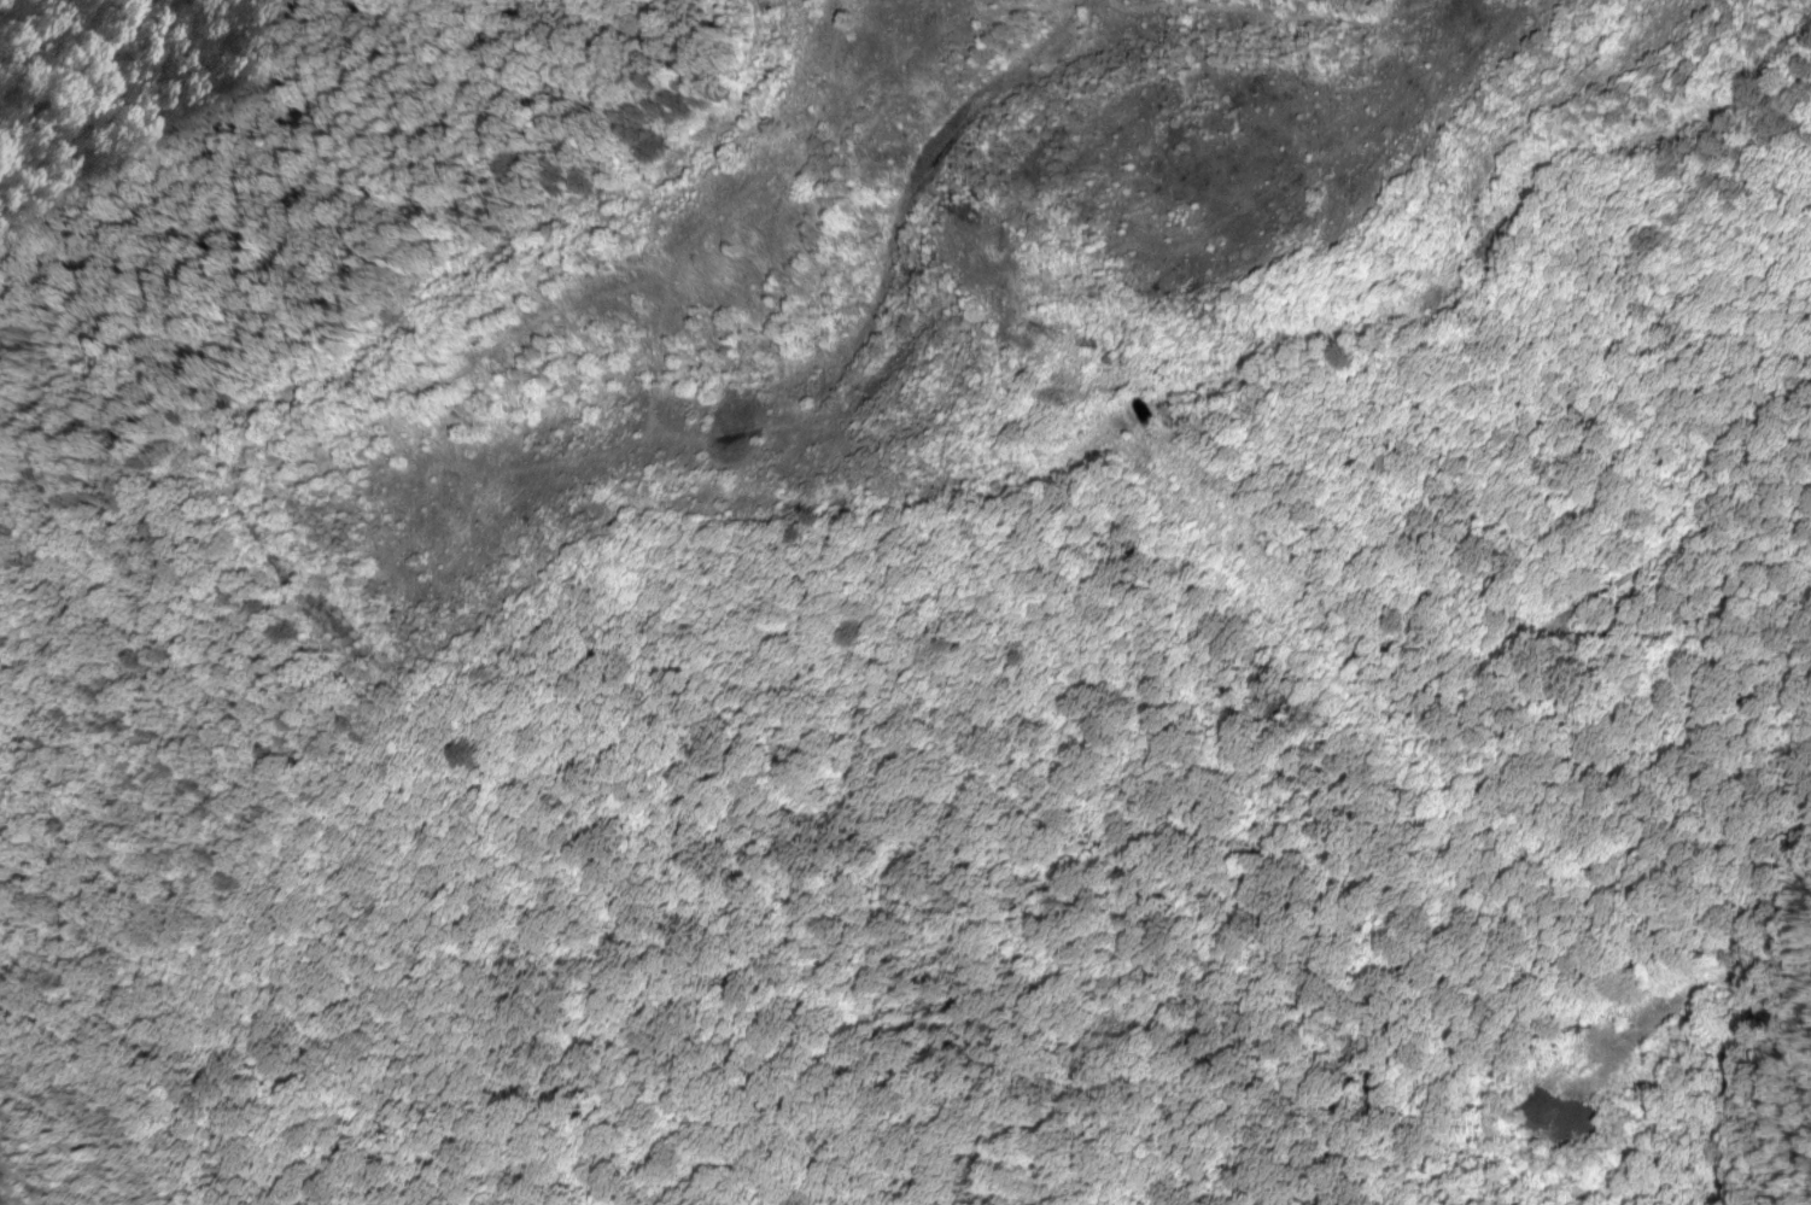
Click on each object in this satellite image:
power tower: (1058, 331)
road: (1722, 978)

